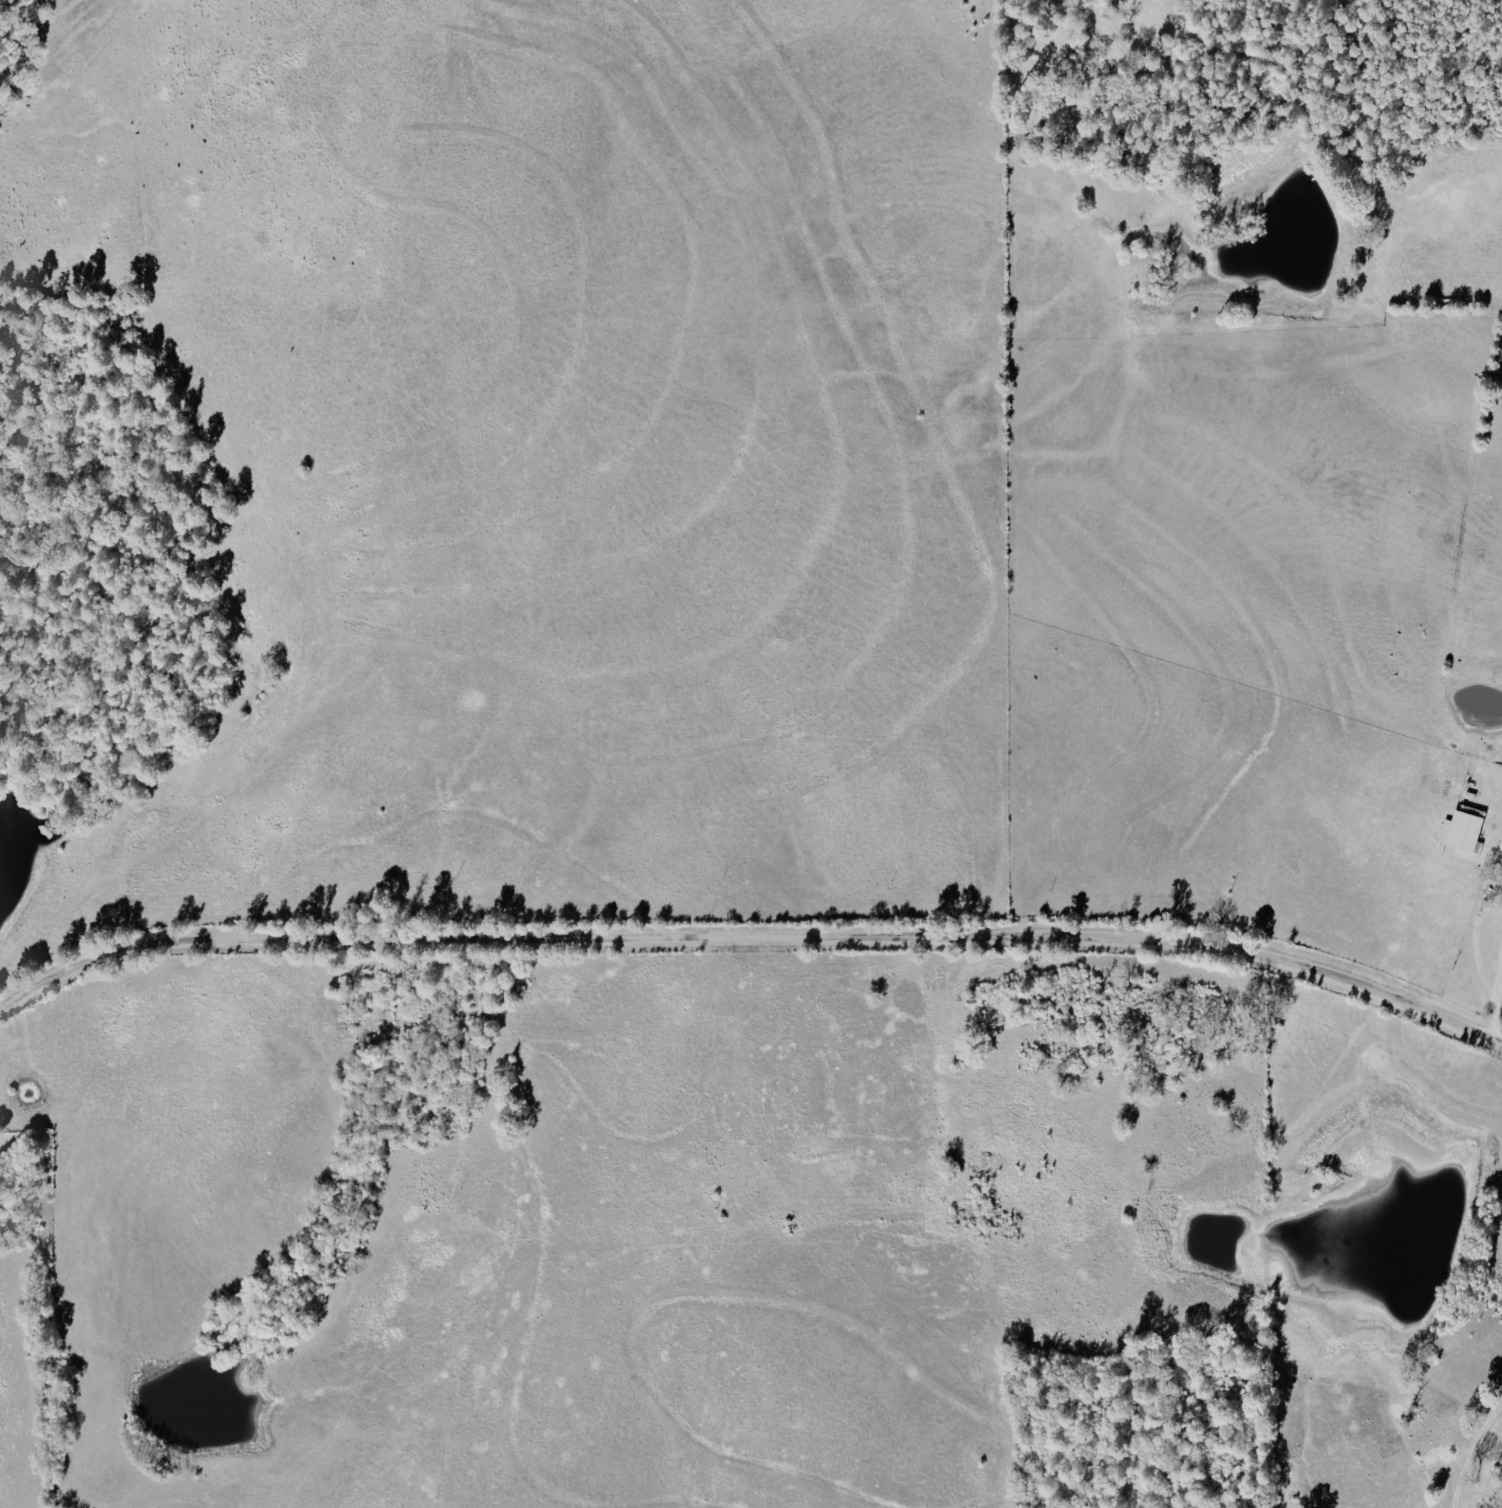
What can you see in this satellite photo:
building: (1462, 831)
road: (756, 934)

